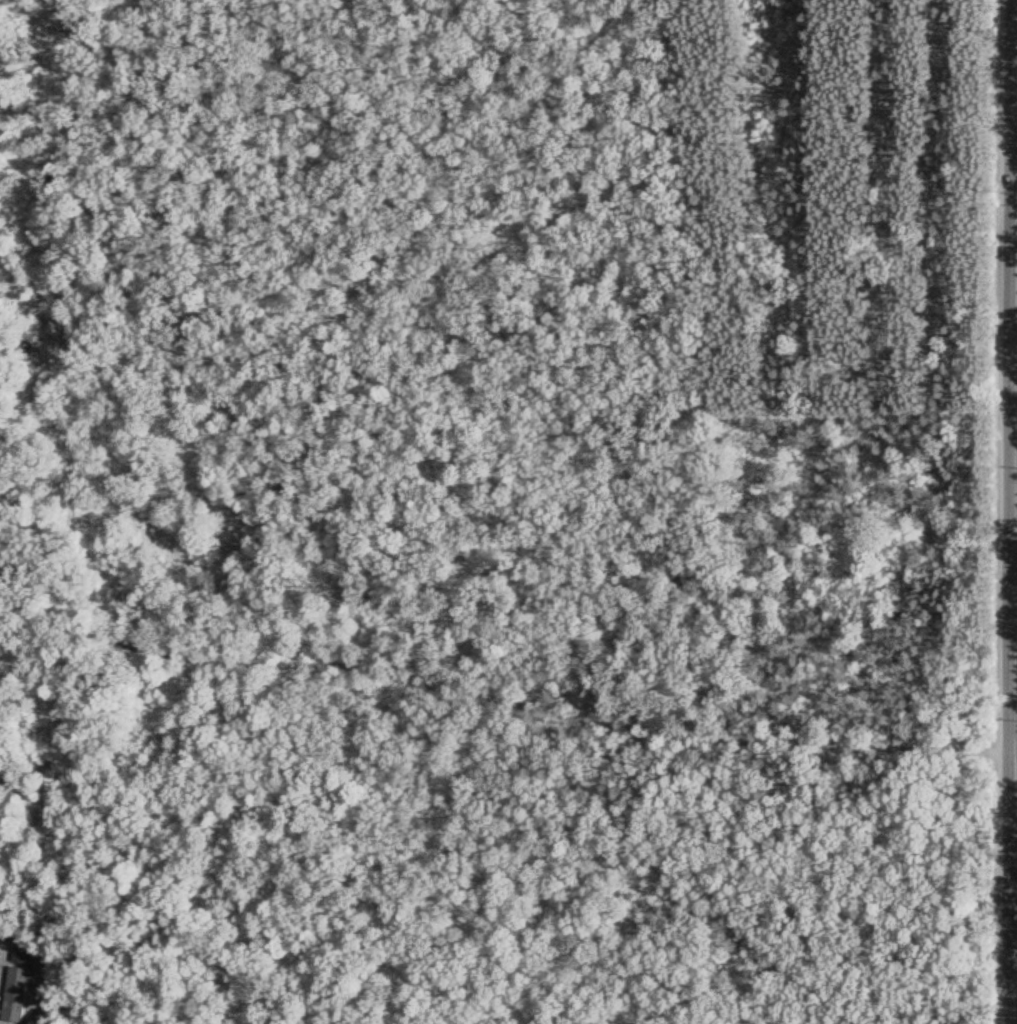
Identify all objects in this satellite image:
road: (1012, 378)
road: (505, 691)
building: (55, 784)
road: (1010, 890)
building: (20, 982)

